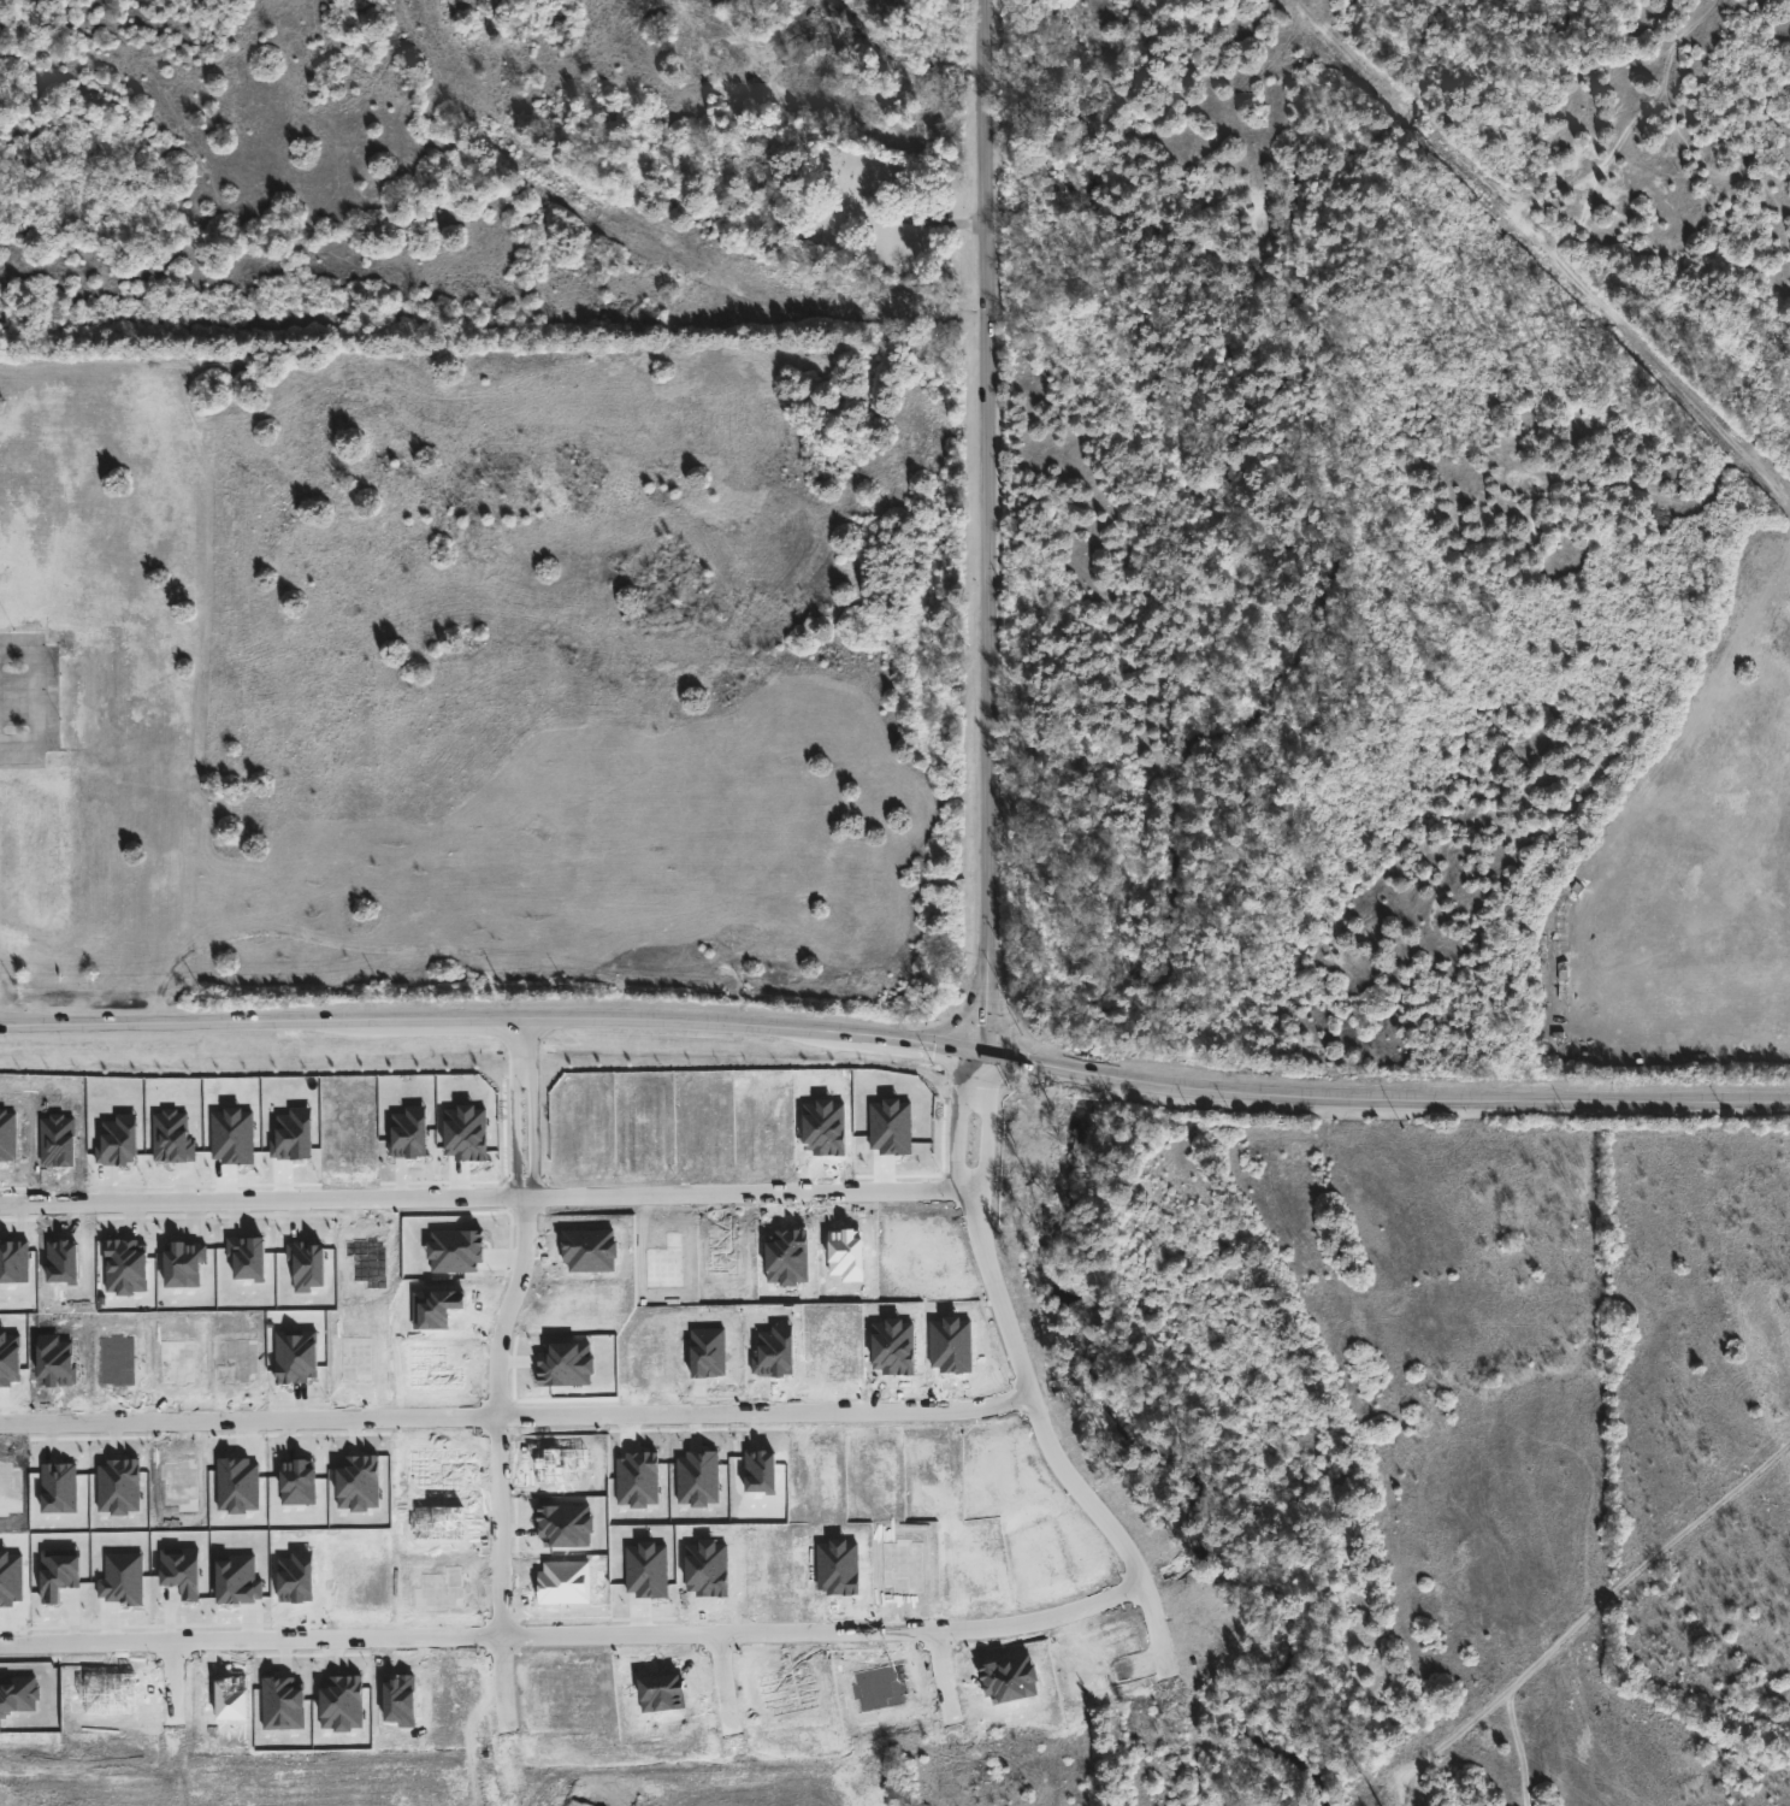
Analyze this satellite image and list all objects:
road: (991, 527)
road: (36, 700)
road: (896, 1040)
road: (524, 1109)
road: (975, 1125)
building: (890, 1127)
building: (409, 1132)
building: (466, 1133)
building: (232, 1135)
building: (294, 1135)
building: (172, 1137)
building: (118, 1141)
road: (262, 1200)
building: (455, 1251)
building: (248, 1257)
building: (184, 1264)
building: (307, 1265)
building: (126, 1267)
building: (296, 1356)
road: (515, 1415)
road: (498, 1416)
building: (59, 1487)
road: (1075, 1487)
building: (646, 1570)
building: (182, 1571)
building: (58, 1574)
building: (122, 1578)
building: (238, 1581)
road: (250, 1640)
building: (18, 1694)

